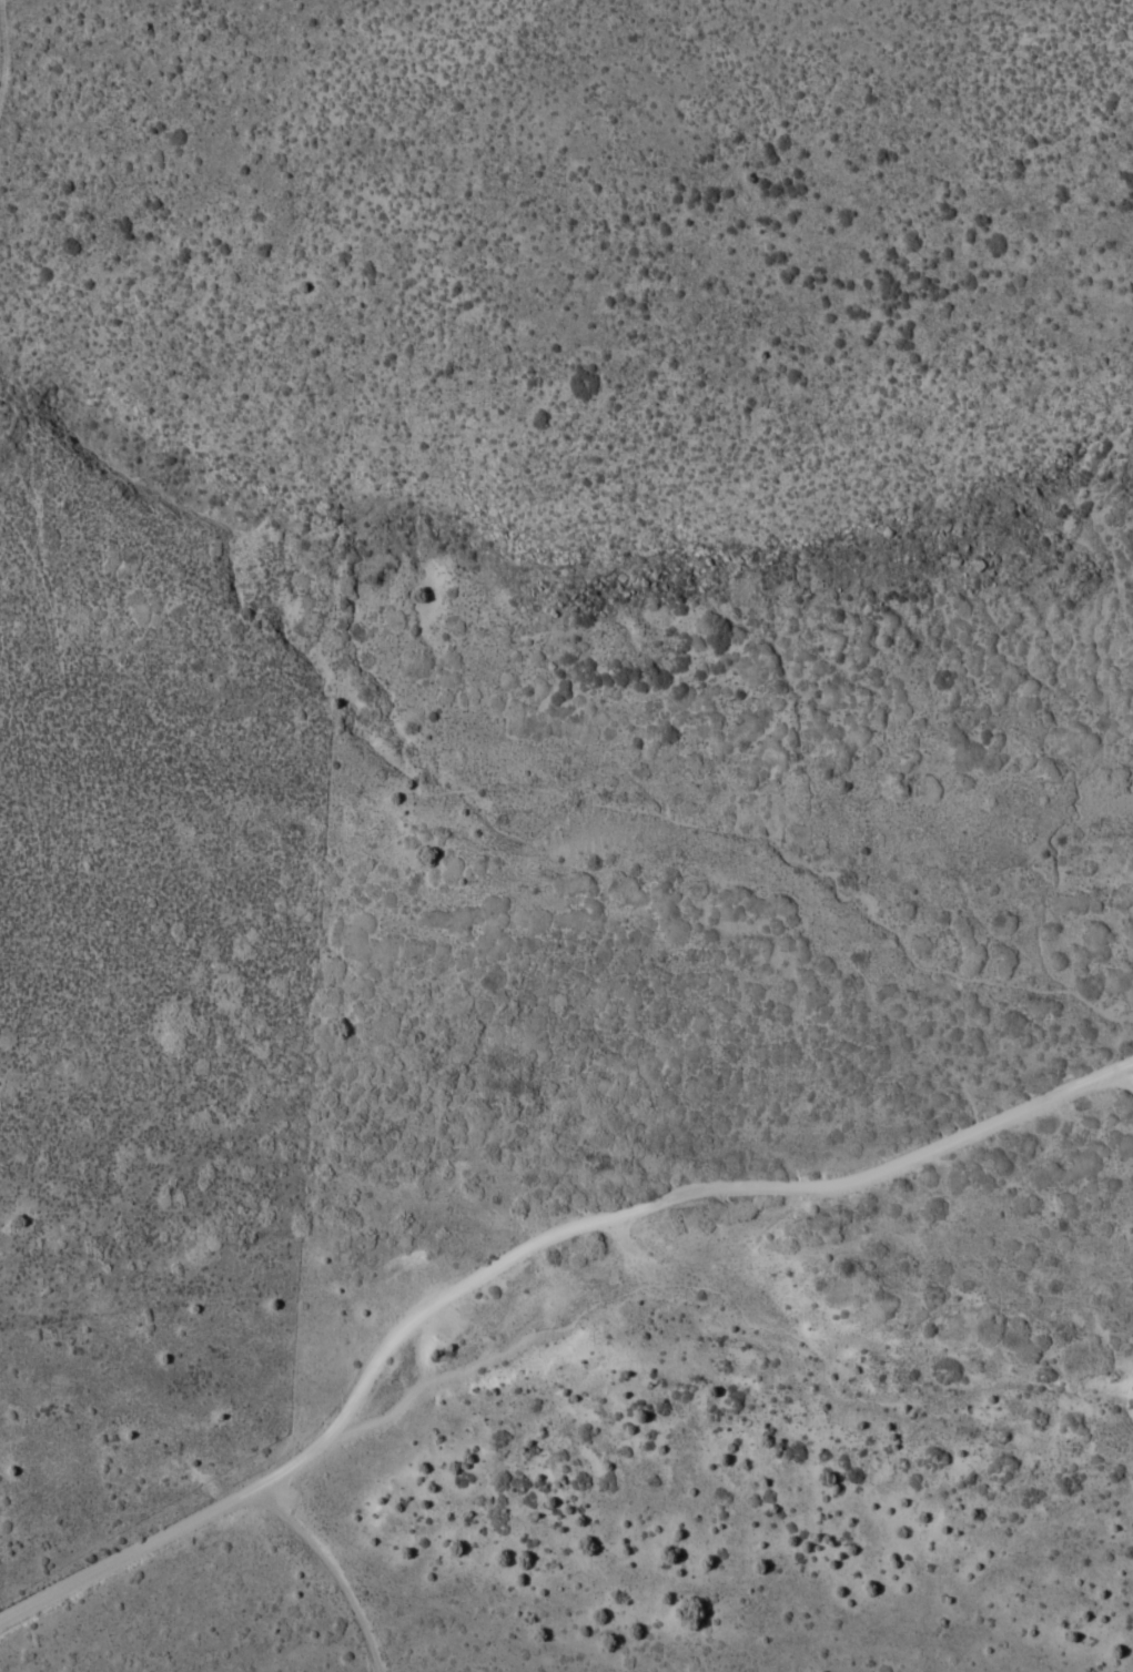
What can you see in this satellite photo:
road: (8, 42)
road: (520, 1254)

